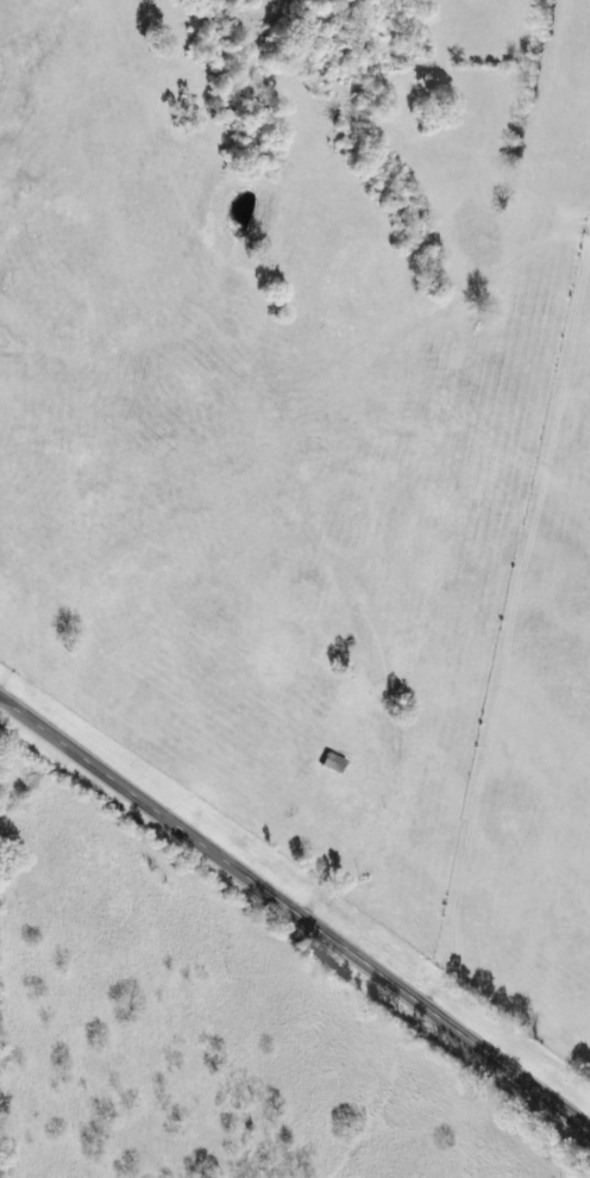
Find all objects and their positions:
building: (334, 762)
road: (296, 899)

